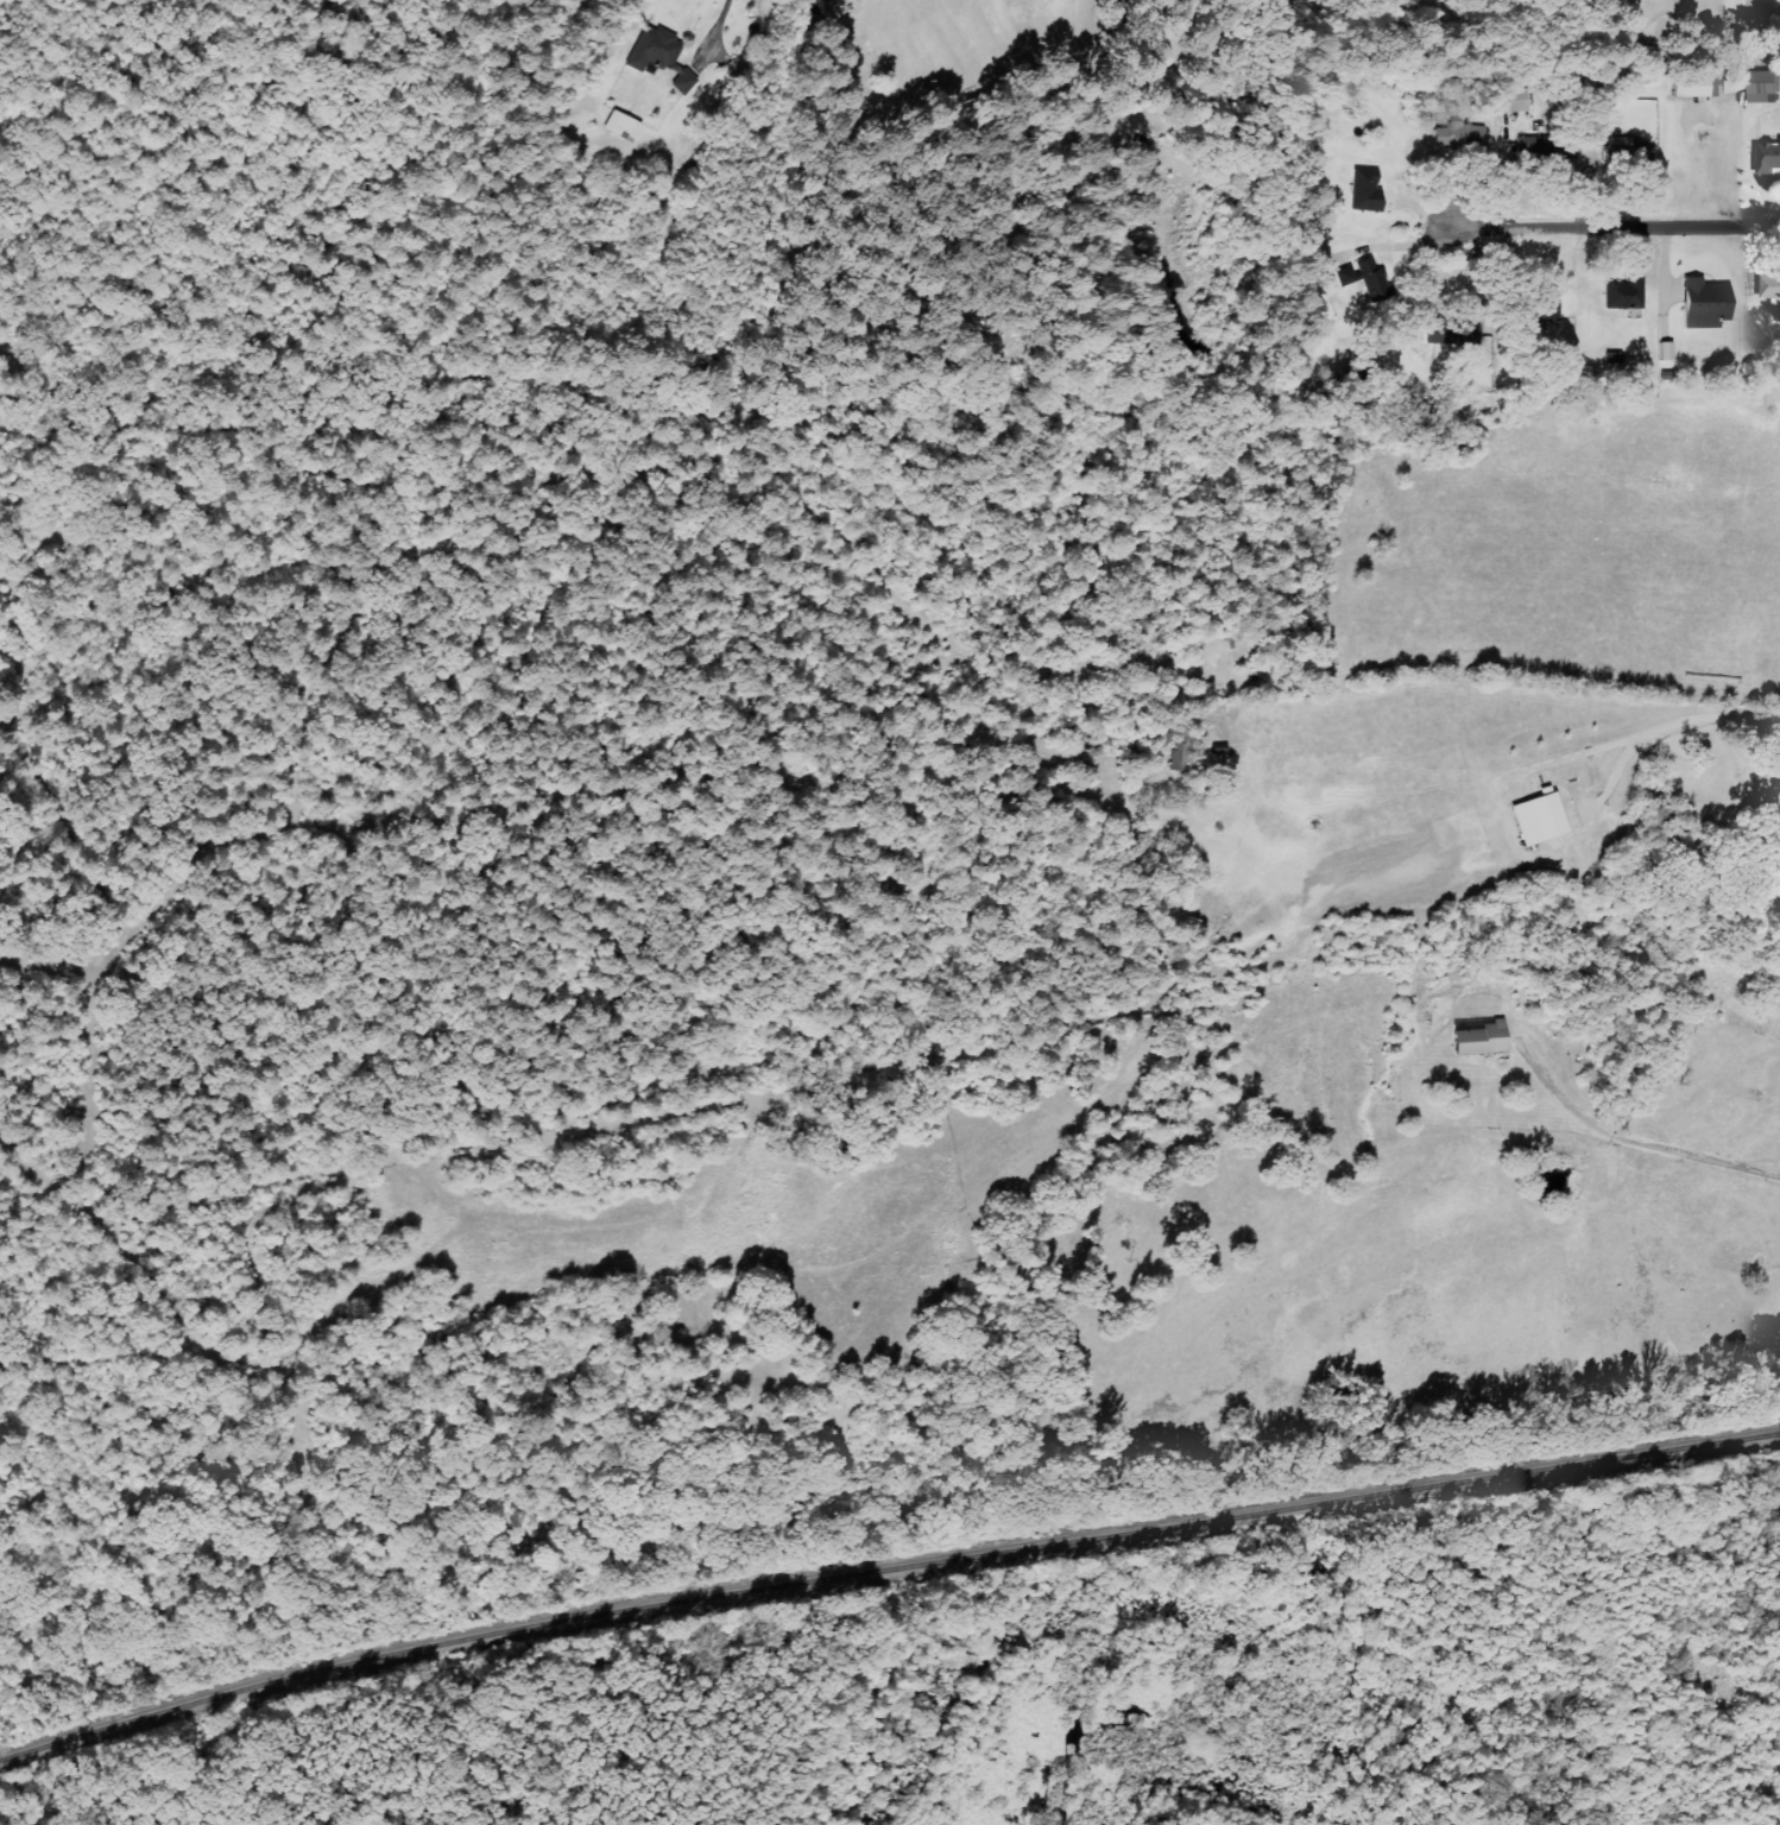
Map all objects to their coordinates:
road: (1766, 4)
building: (662, 53)
building: (1696, 84)
building: (1766, 86)
building: (1515, 99)
building: (624, 125)
building: (1630, 149)
building: (1769, 157)
building: (1366, 189)
road: (1612, 226)
building: (1366, 276)
building: (1770, 285)
building: (1624, 292)
building: (1706, 302)
building: (1454, 333)
building: (1667, 349)
building: (1540, 817)
building: (1481, 1036)
railway: (884, 1568)

